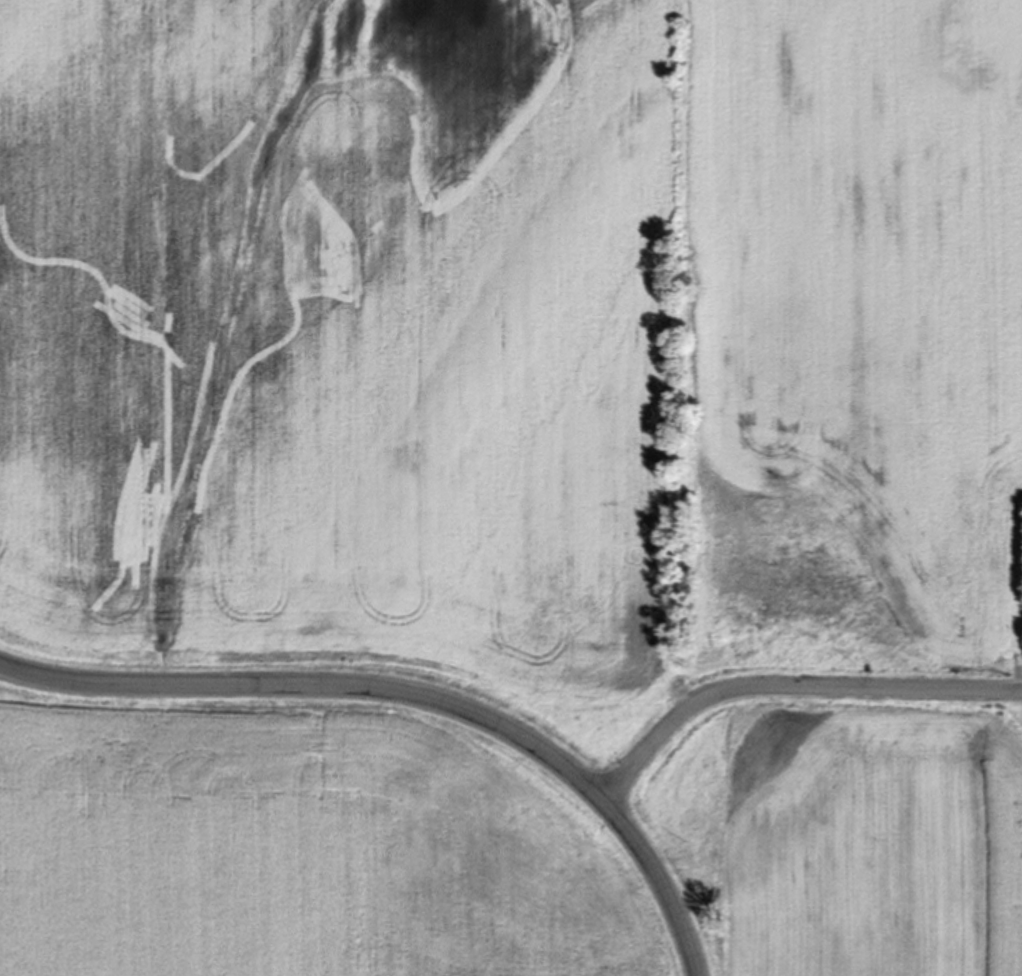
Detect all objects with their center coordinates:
road: (789, 688)
road: (416, 695)

